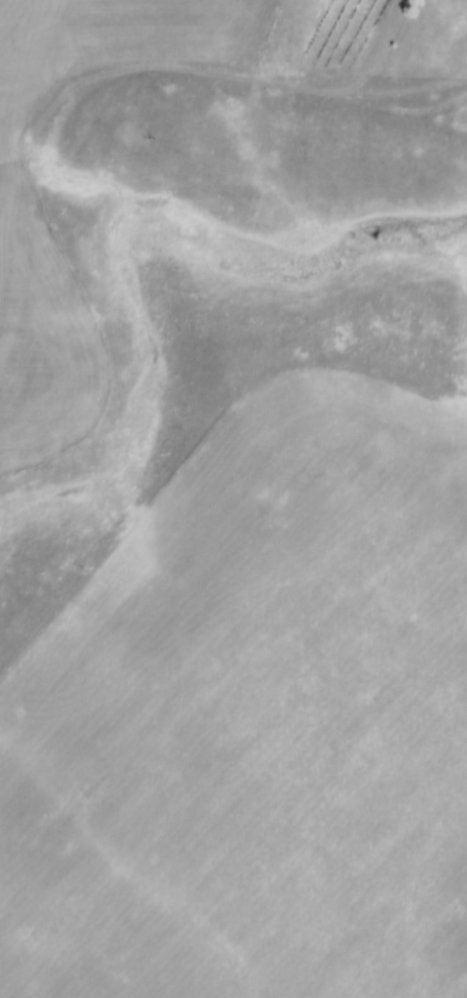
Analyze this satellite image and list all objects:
road: (211, 80)

